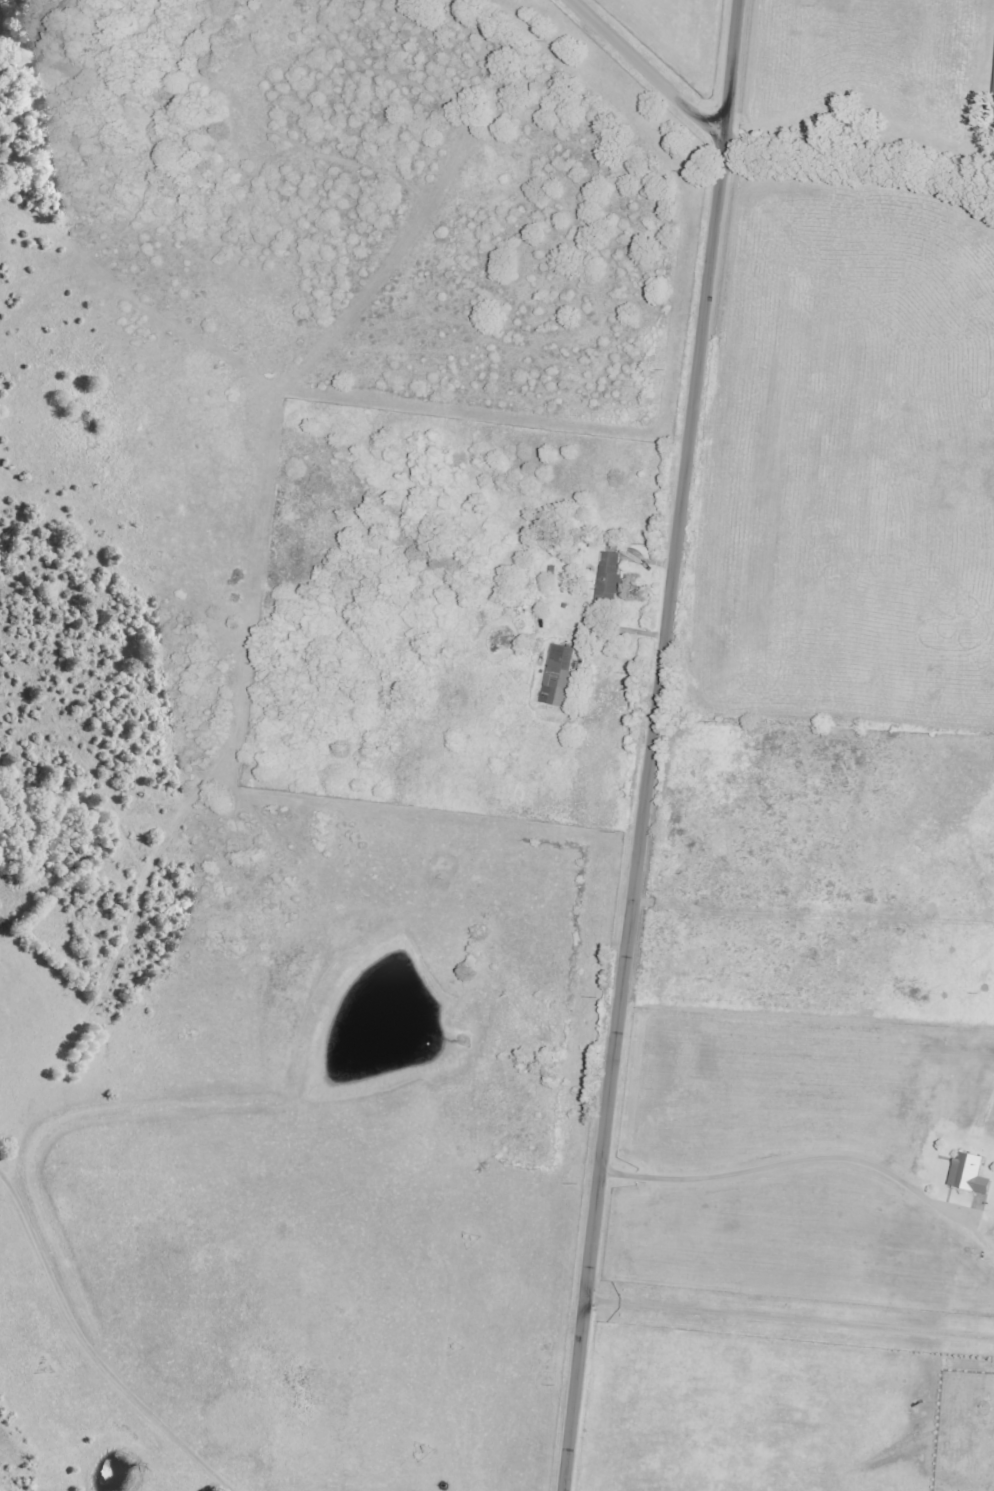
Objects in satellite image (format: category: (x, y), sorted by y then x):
road: (648, 70)
building: (993, 98)
road: (860, 163)
building: (609, 577)
building: (558, 676)
road: (654, 745)
building: (968, 1174)

